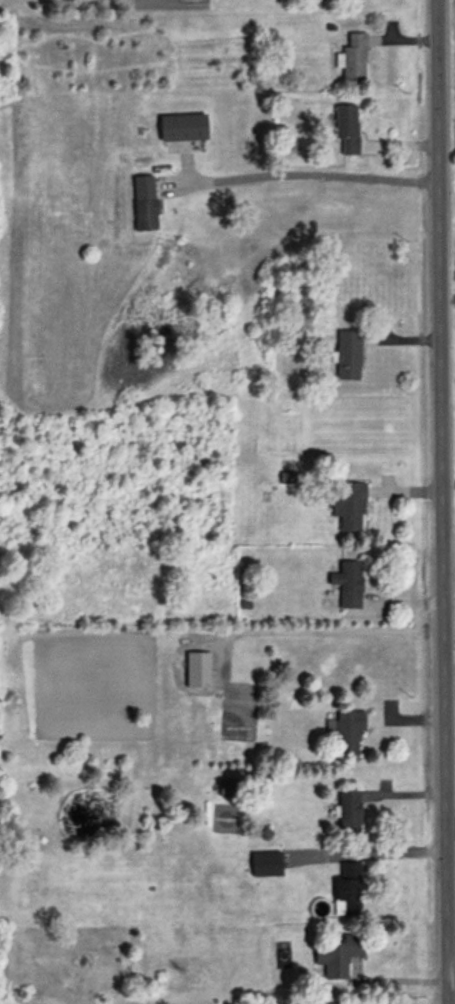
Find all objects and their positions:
building: (354, 59)
building: (182, 128)
building: (346, 129)
road: (313, 174)
building: (144, 203)
building: (348, 356)
road: (442, 502)
building: (349, 508)
building: (348, 585)
road: (320, 630)
road: (449, 653)
building: (197, 671)
building: (348, 735)
building: (228, 788)
building: (349, 811)
road: (450, 827)
road: (366, 851)
building: (265, 865)
building: (347, 890)
road: (450, 902)
building: (341, 956)
road: (391, 979)

